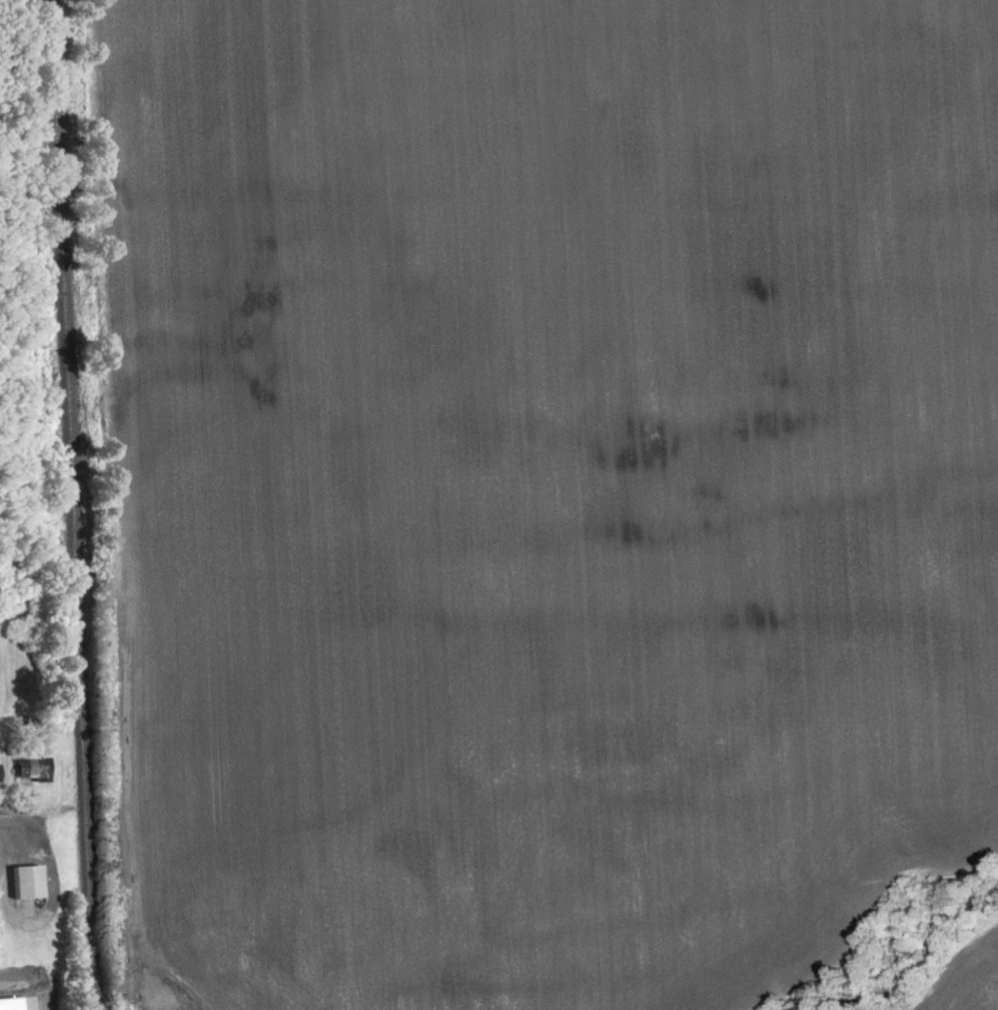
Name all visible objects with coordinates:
railway: (75, 504)
building: (36, 767)
building: (1, 772)
road: (21, 819)
building: (32, 882)

